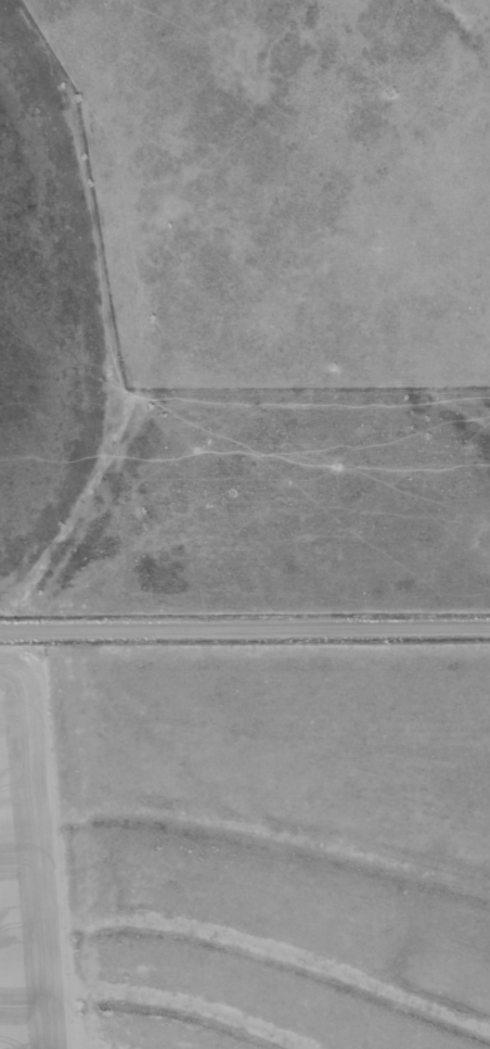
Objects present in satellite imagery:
road: (245, 629)

